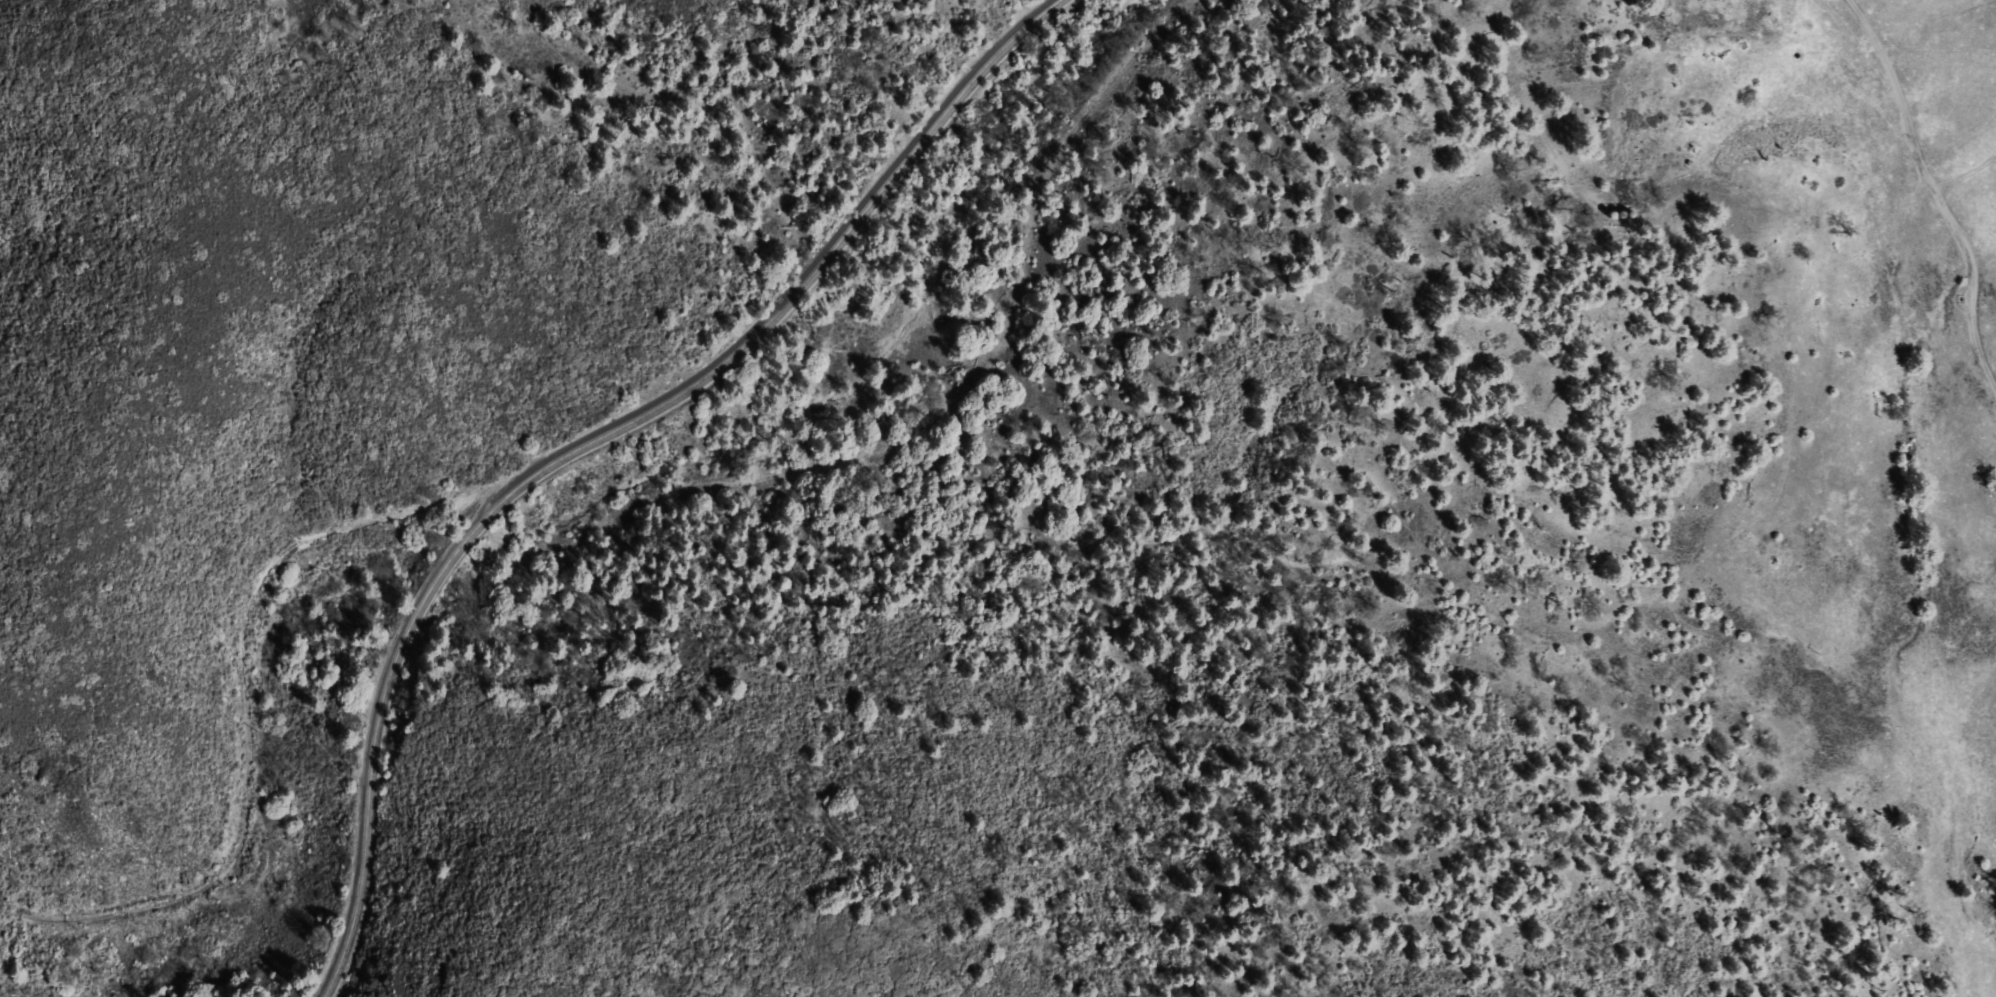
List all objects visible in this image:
road: (1934, 195)
road: (997, 327)
road: (594, 440)
road: (245, 708)

